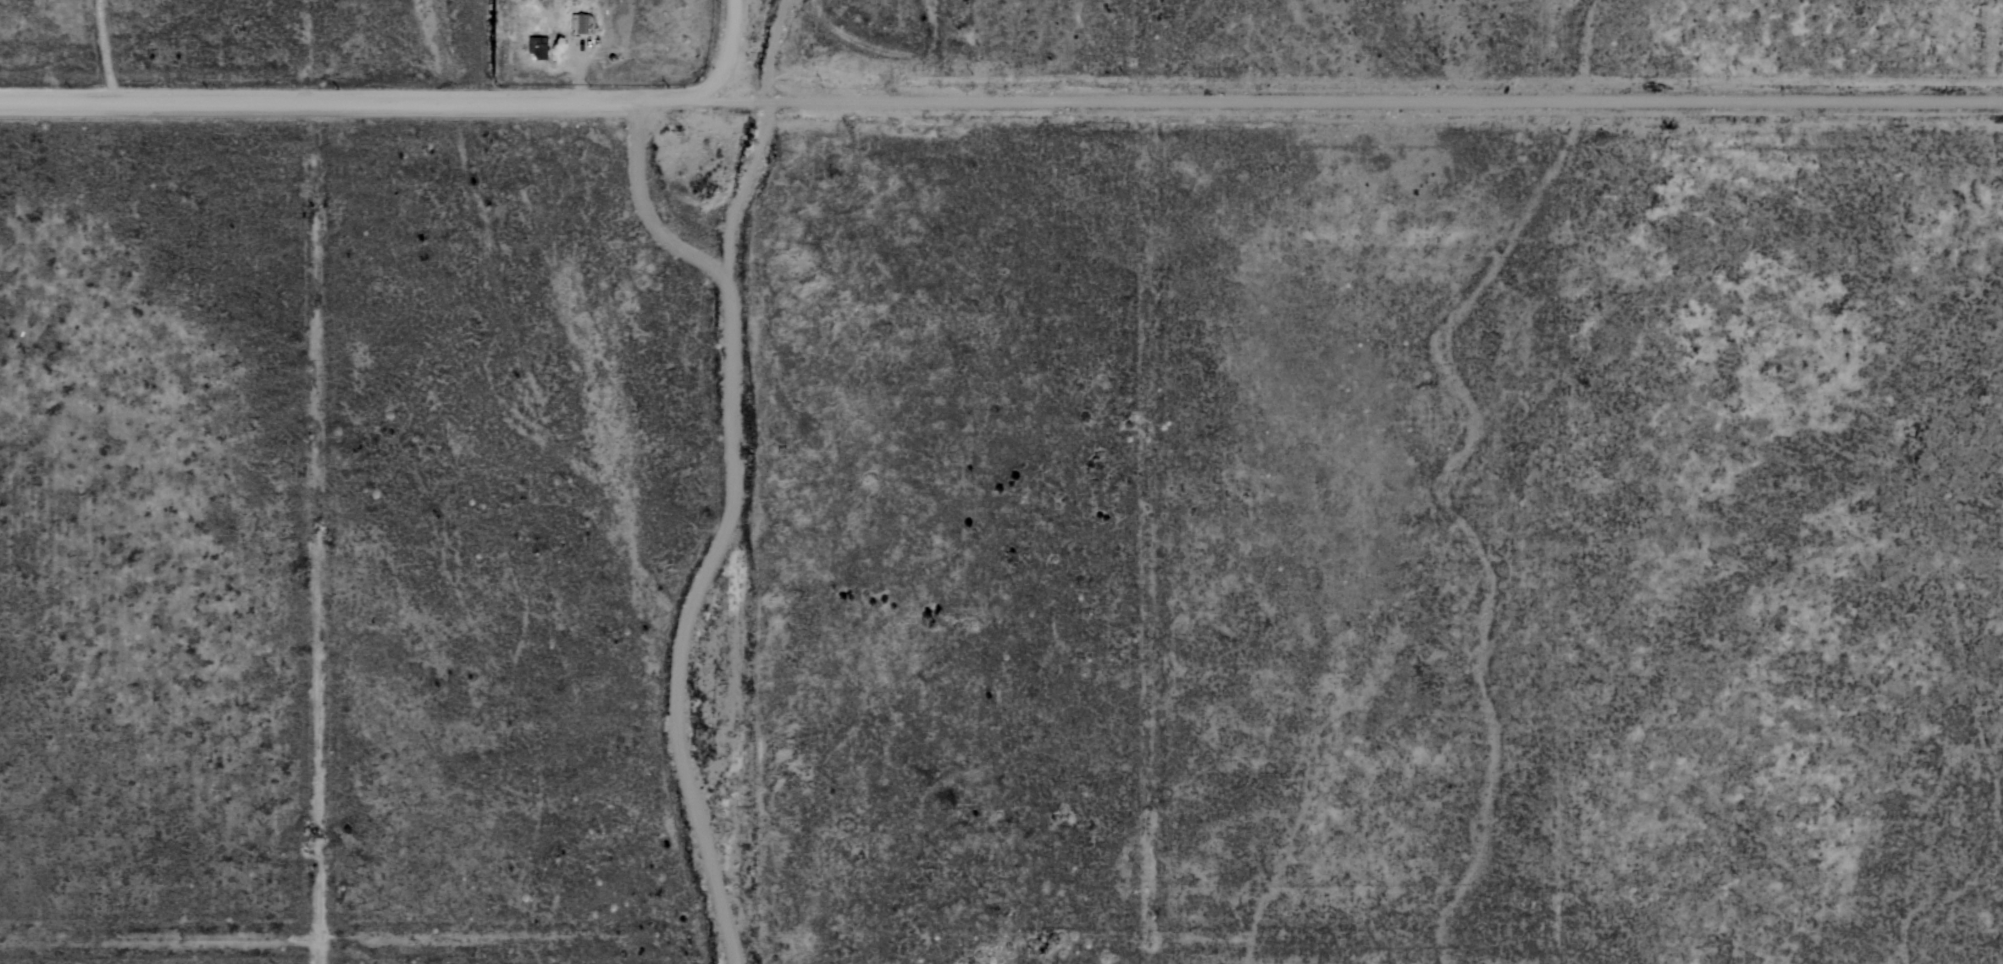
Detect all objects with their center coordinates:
building: (580, 23)
building: (541, 48)
road: (579, 100)
road: (1364, 103)
road: (642, 207)
road: (1719, 481)
road: (725, 482)
road: (1283, 482)
road: (316, 532)
road: (855, 814)

